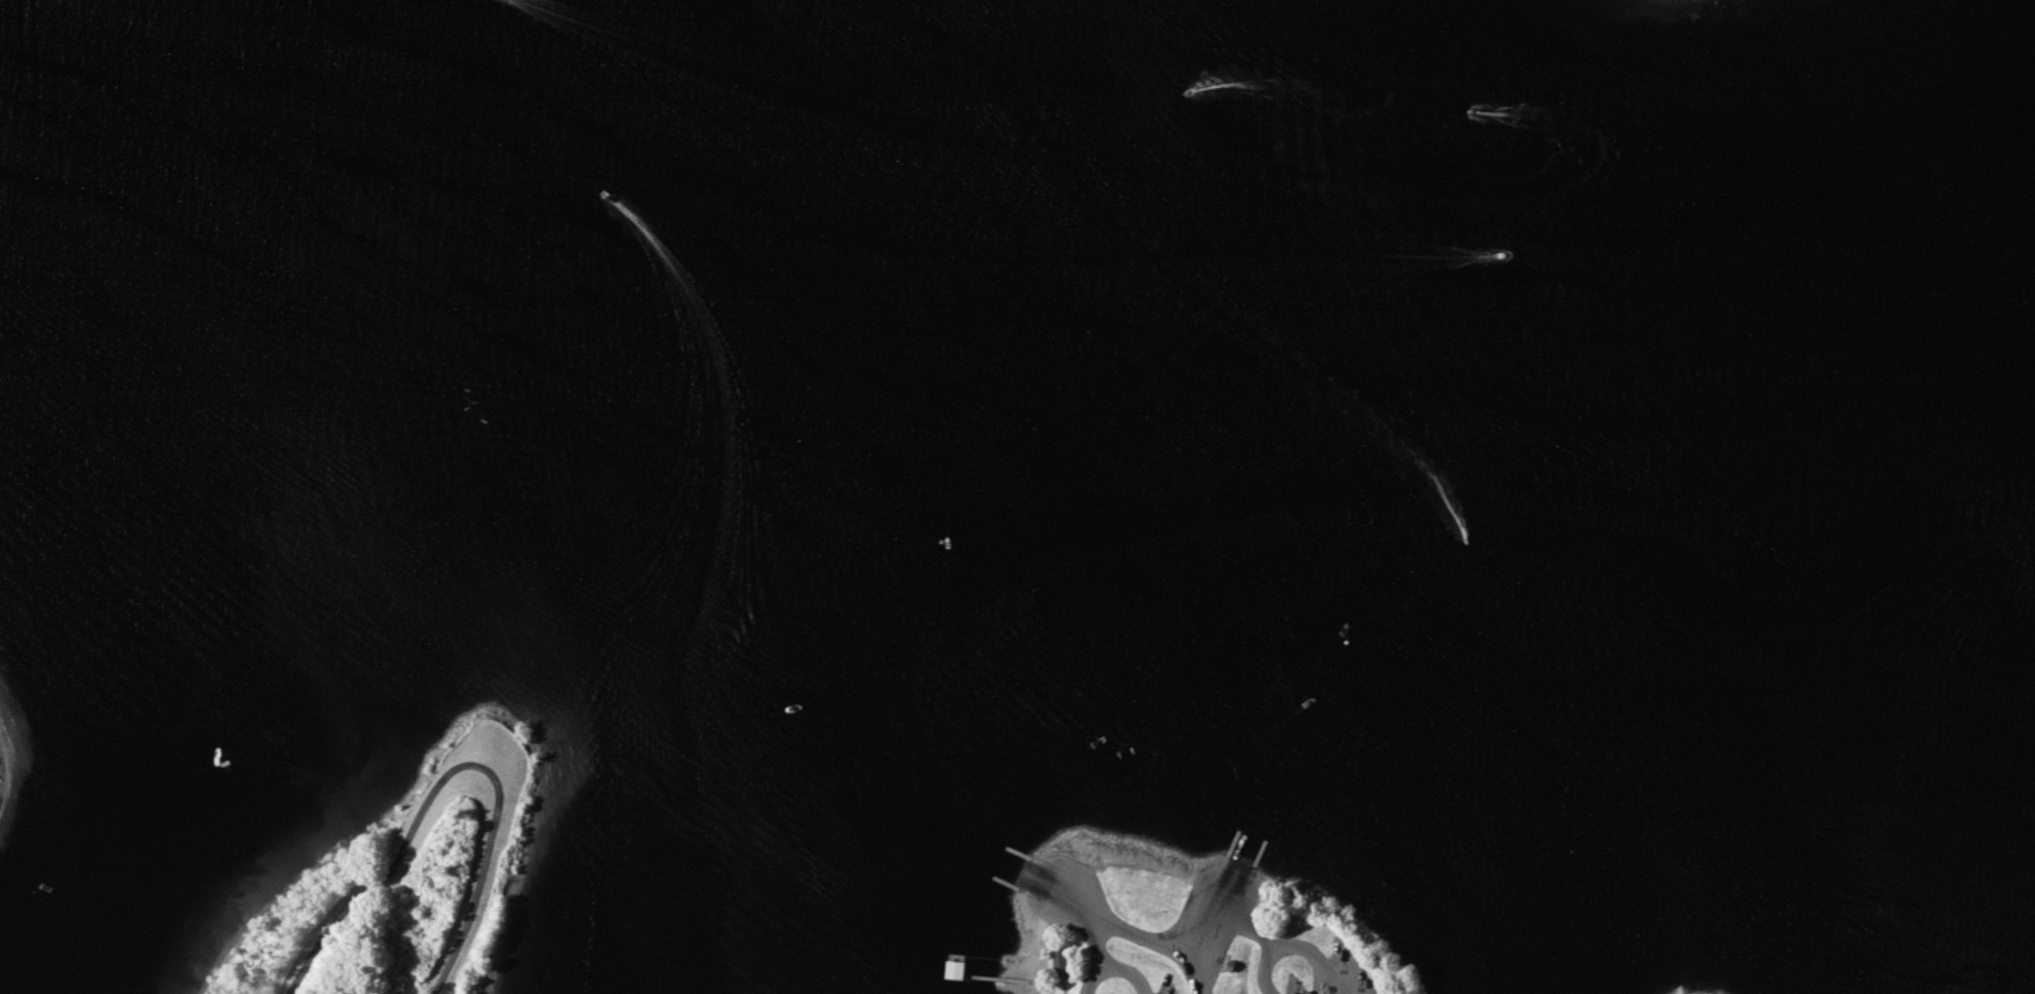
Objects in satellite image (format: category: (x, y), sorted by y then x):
park: (6, 770)
road: (451, 770)
pier: (1228, 848)
pier: (1020, 853)
pier: (1257, 858)
park: (423, 869)
pier: (1003, 882)
road: (1246, 928)
park: (1185, 930)
road: (1149, 939)
road: (1095, 943)
road: (1278, 947)
building: (1059, 962)
pier: (953, 965)
road: (1115, 968)
road: (1198, 976)
pier: (995, 978)
road: (1334, 979)
parking lot: (1335, 979)
road: (1046, 982)
road: (1063, 985)
parking lot: (1170, 993)
park: (1662, 993)

